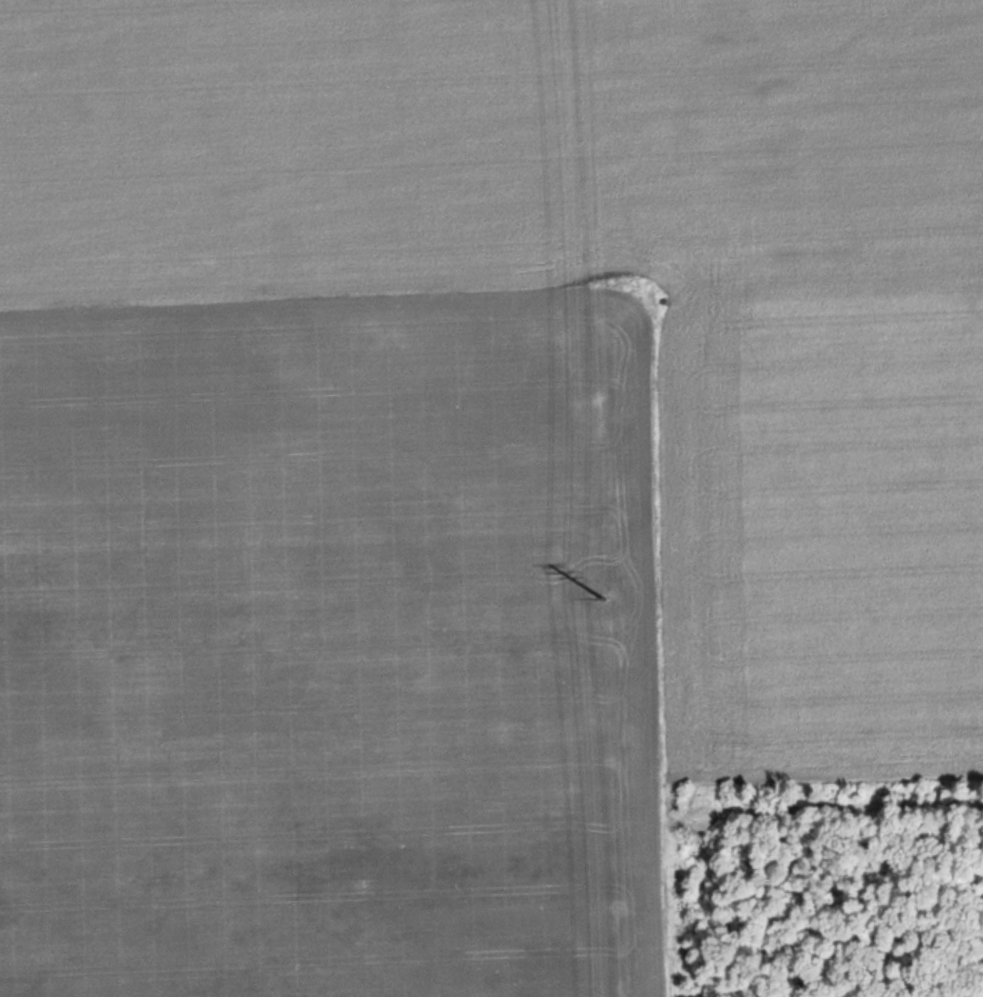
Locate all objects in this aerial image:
power tower: (601, 597)

